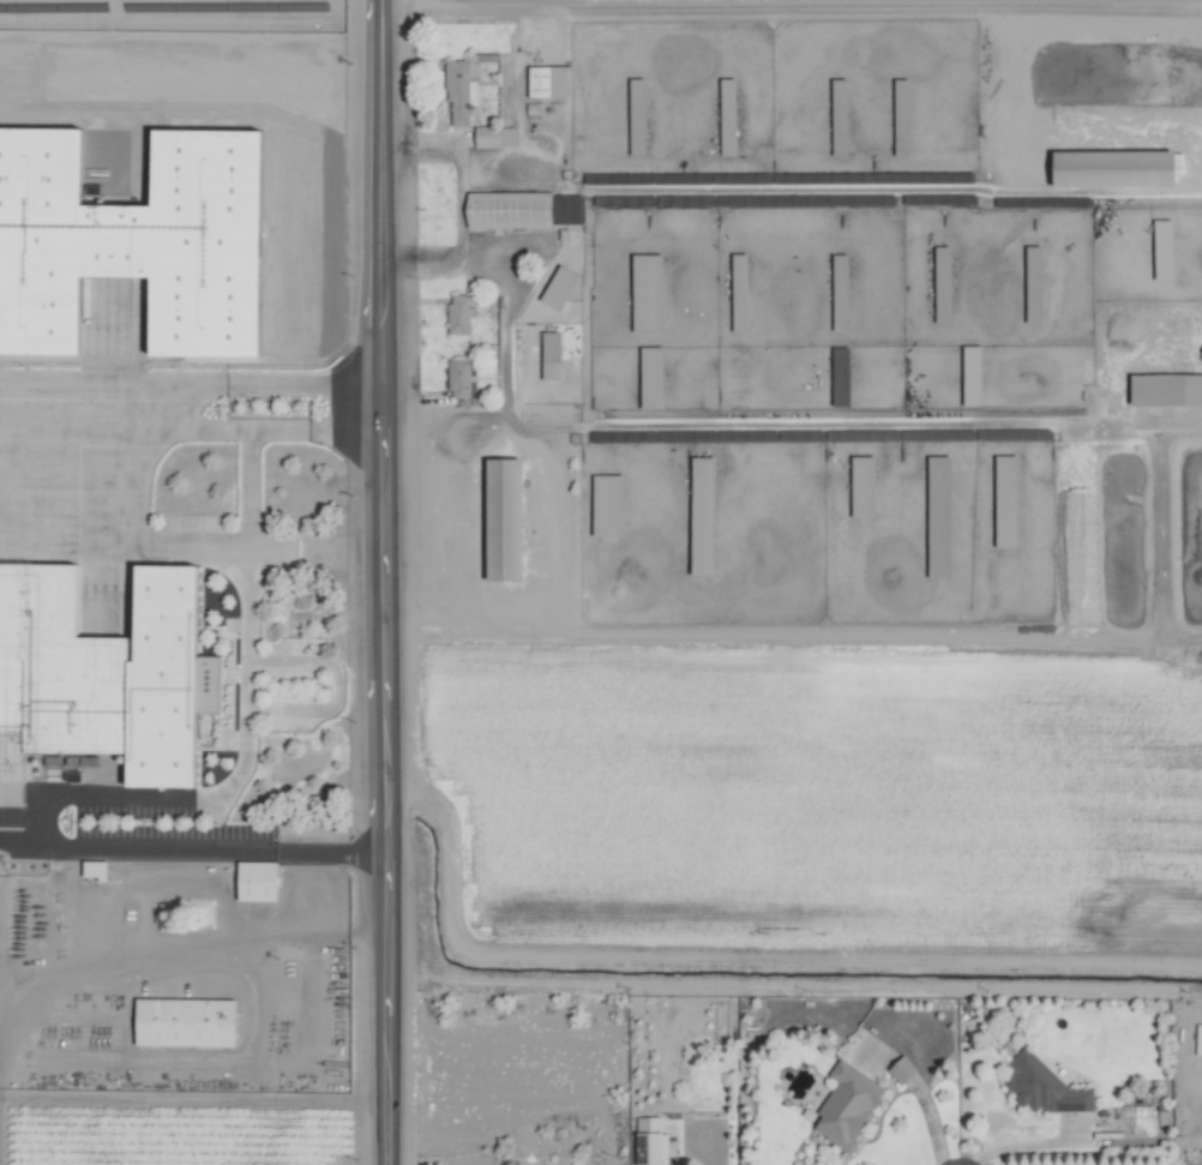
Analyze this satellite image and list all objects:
road: (771, 10)
building: (551, 82)
building: (463, 88)
building: (638, 116)
building: (728, 116)
building: (494, 136)
building: (1116, 169)
building: (567, 209)
building: (510, 210)
building: (158, 216)
building: (943, 284)
building: (1034, 284)
building: (560, 288)
building: (841, 292)
building: (740, 293)
building: (649, 294)
building: (459, 314)
crop: (785, 326)
building: (552, 355)
building: (842, 377)
building: (459, 378)
building: (653, 378)
road: (269, 382)
building: (1167, 390)
road: (80, 401)
road: (266, 434)
building: (864, 485)
road: (251, 492)
building: (1008, 500)
building: (939, 503)
building: (608, 504)
building: (704, 515)
building: (506, 517)
road: (381, 582)
crop: (601, 582)
building: (64, 614)
road: (501, 633)
road: (910, 633)
road: (248, 638)
building: (167, 677)
road: (332, 686)
crop: (788, 798)
road: (18, 829)
road: (209, 852)
building: (95, 869)
building: (258, 879)
road: (245, 939)
building: (185, 1021)
building: (902, 1069)
building: (1045, 1086)
building: (848, 1104)
road: (930, 1121)
building: (653, 1141)
road: (1022, 1147)

